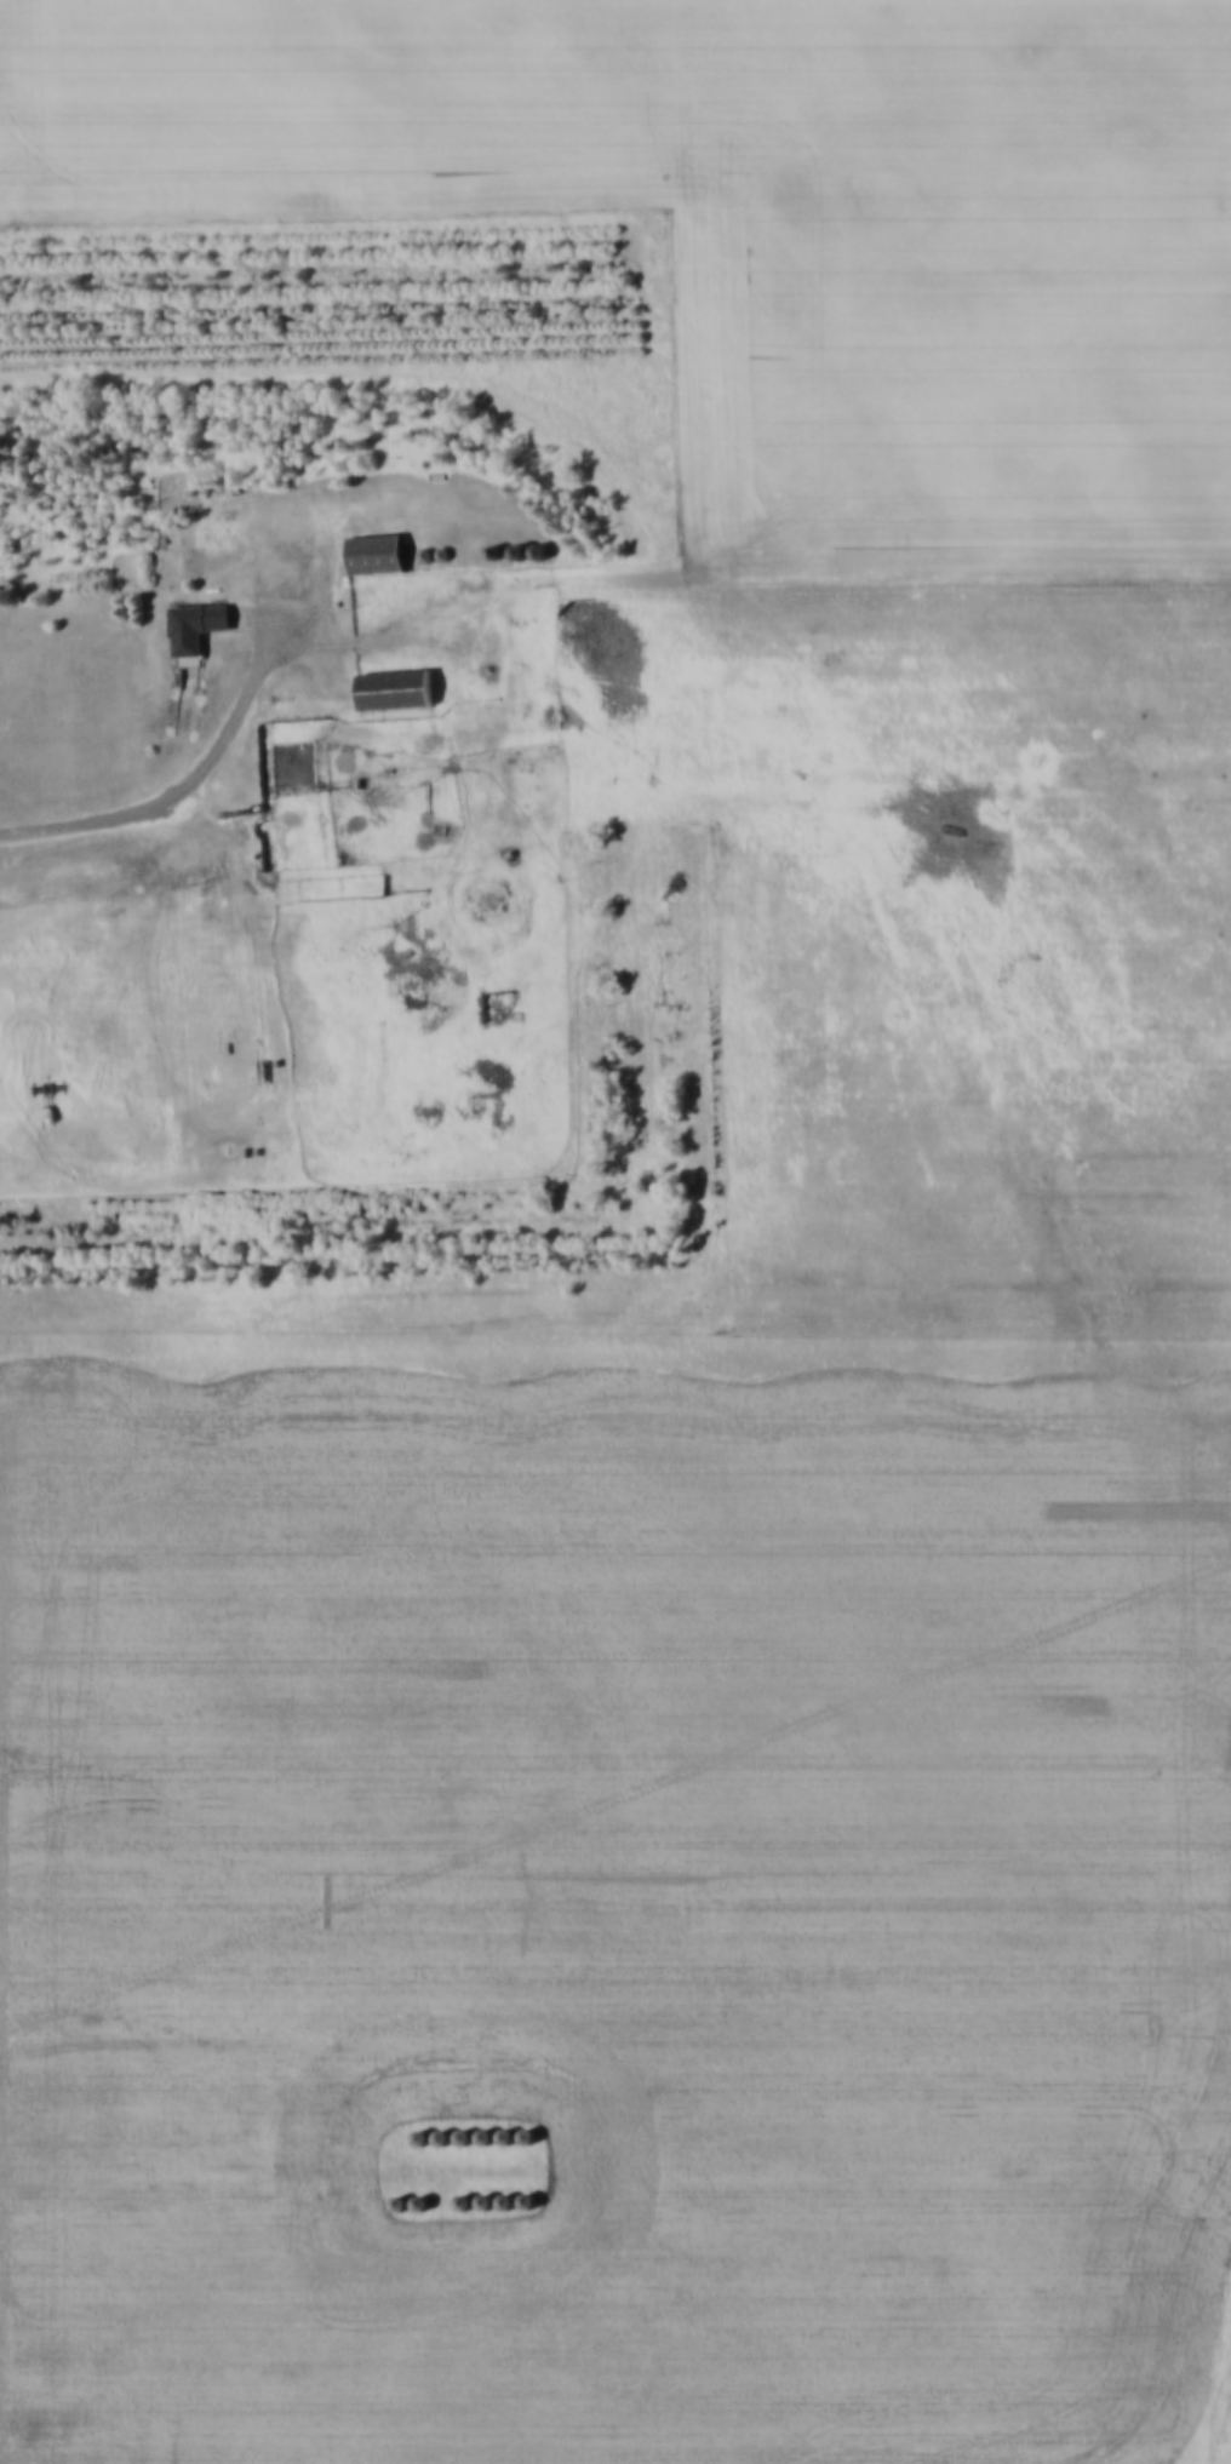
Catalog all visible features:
building: (219, 537)
building: (376, 556)
building: (462, 586)
silo: (462, 586)
building: (488, 586)
silo: (488, 586)
building: (509, 586)
silo: (509, 586)
building: (338, 589)
building: (407, 589)
silo: (407, 589)
building: (390, 590)
silo: (390, 590)
building: (195, 628)
building: (161, 660)
building: (395, 692)
building: (357, 724)
road: (195, 778)
road: (260, 2095)
building: (430, 2171)
silo: (430, 2171)
building: (451, 2171)
silo: (451, 2171)
building: (473, 2171)
silo: (473, 2171)
building: (494, 2171)
silo: (494, 2171)
building: (387, 2172)
silo: (387, 2172)
building: (407, 2172)
silo: (407, 2172)
building: (430, 2236)
silo: (430, 2236)
building: (452, 2236)
silo: (452, 2236)
building: (473, 2236)
silo: (473, 2236)
building: (494, 2236)
silo: (494, 2236)
building: (387, 2237)
silo: (387, 2237)
building: (366, 2239)
silo: (366, 2239)

